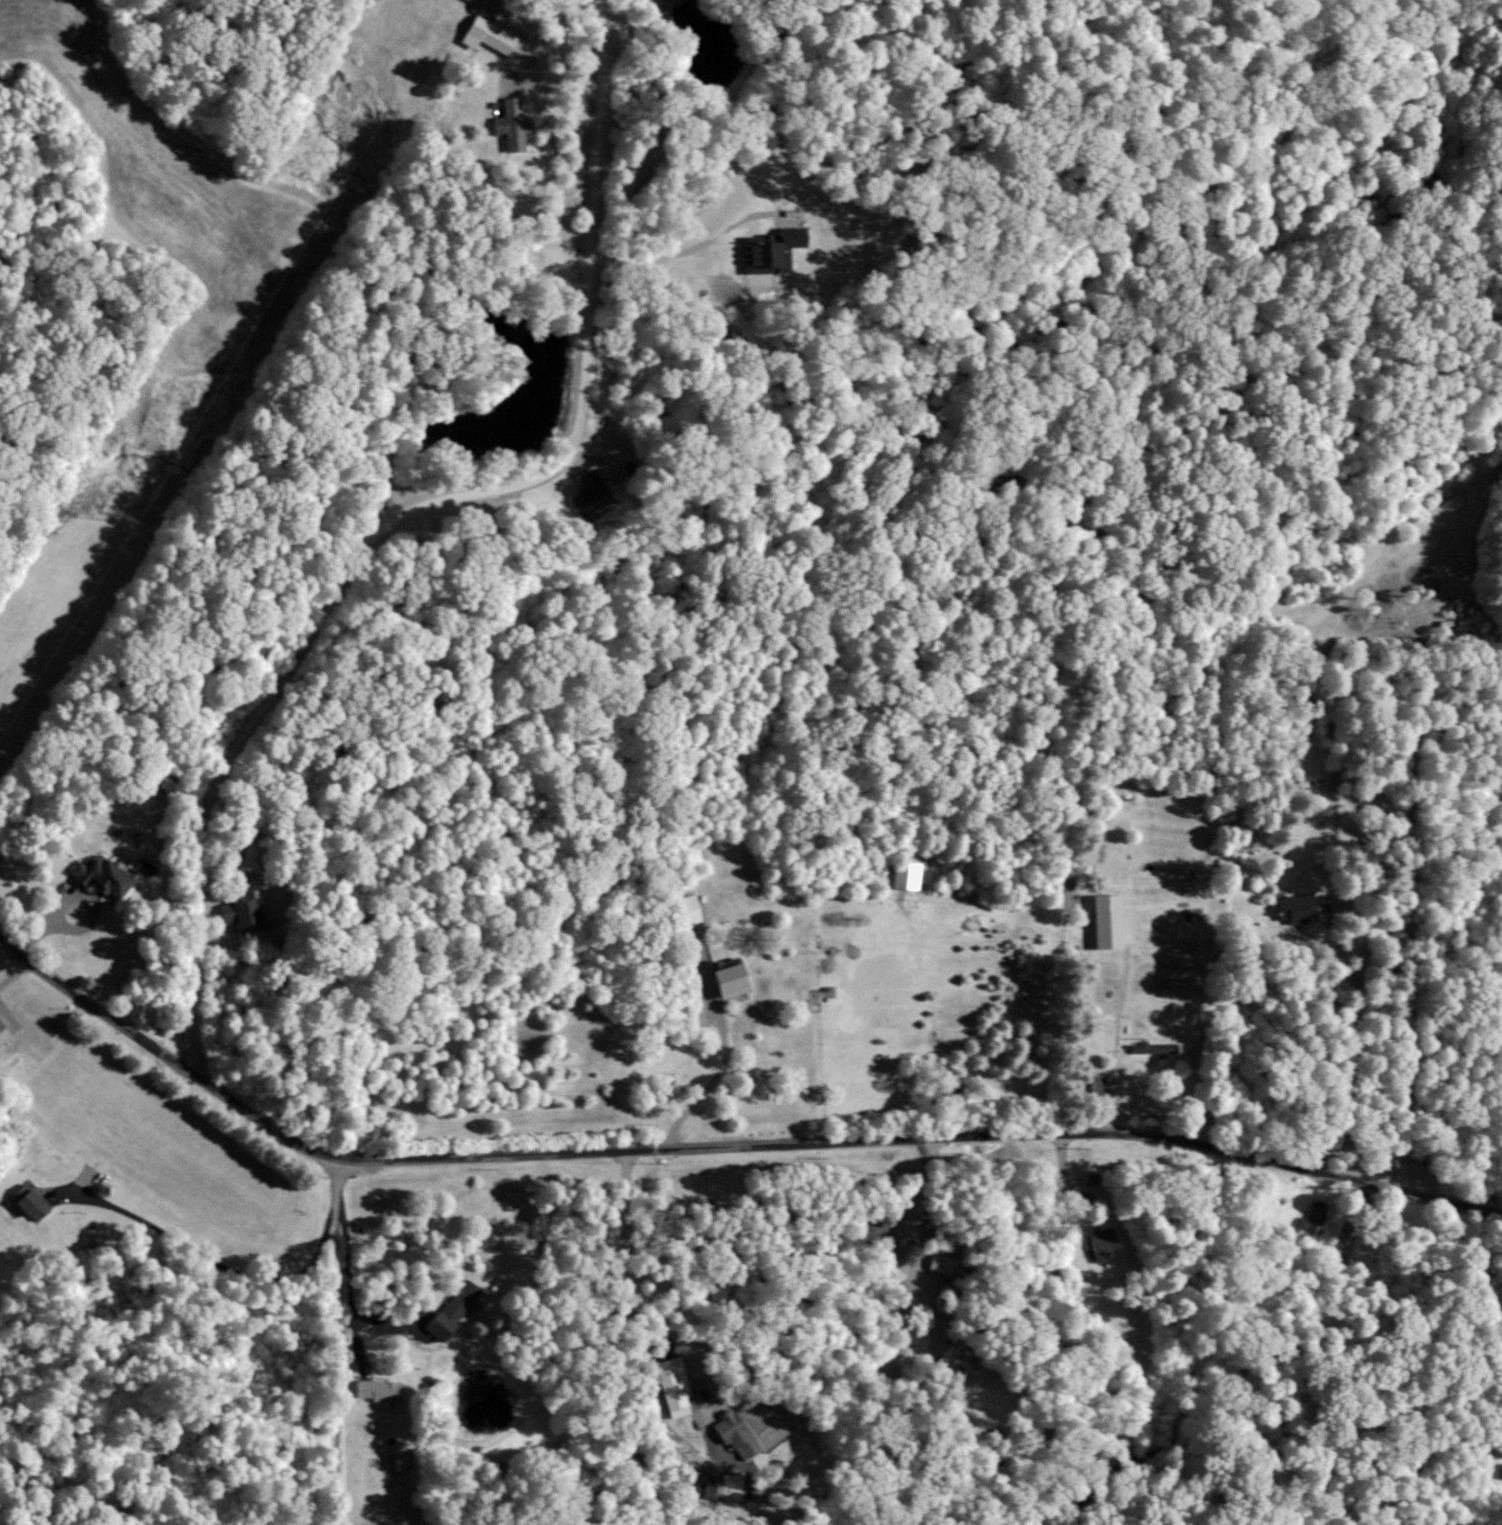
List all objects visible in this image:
building: (484, 35)
road: (569, 81)
building: (510, 124)
road: (548, 129)
road: (683, 254)
building: (587, 493)
road: (415, 508)
power tower: (110, 516)
building: (901, 876)
building: (98, 877)
road: (78, 895)
building: (1293, 907)
building: (687, 909)
building: (239, 914)
building: (1104, 919)
road: (13, 966)
building: (725, 976)
road: (1357, 986)
road: (1064, 1019)
building: (2, 1032)
road: (819, 1034)
road: (722, 1038)
building: (1152, 1047)
building: (1095, 1084)
road: (720, 1137)
building: (26, 1200)
building: (1311, 1217)
road: (906, 1240)
building: (1100, 1243)
road: (624, 1255)
road: (211, 1259)
road: (344, 1272)
building: (451, 1308)
road: (334, 1339)
building: (966, 1374)
building: (669, 1384)
building: (378, 1389)
building: (734, 1433)
building: (397, 1459)
building: (1500, 1471)
building: (722, 1486)

